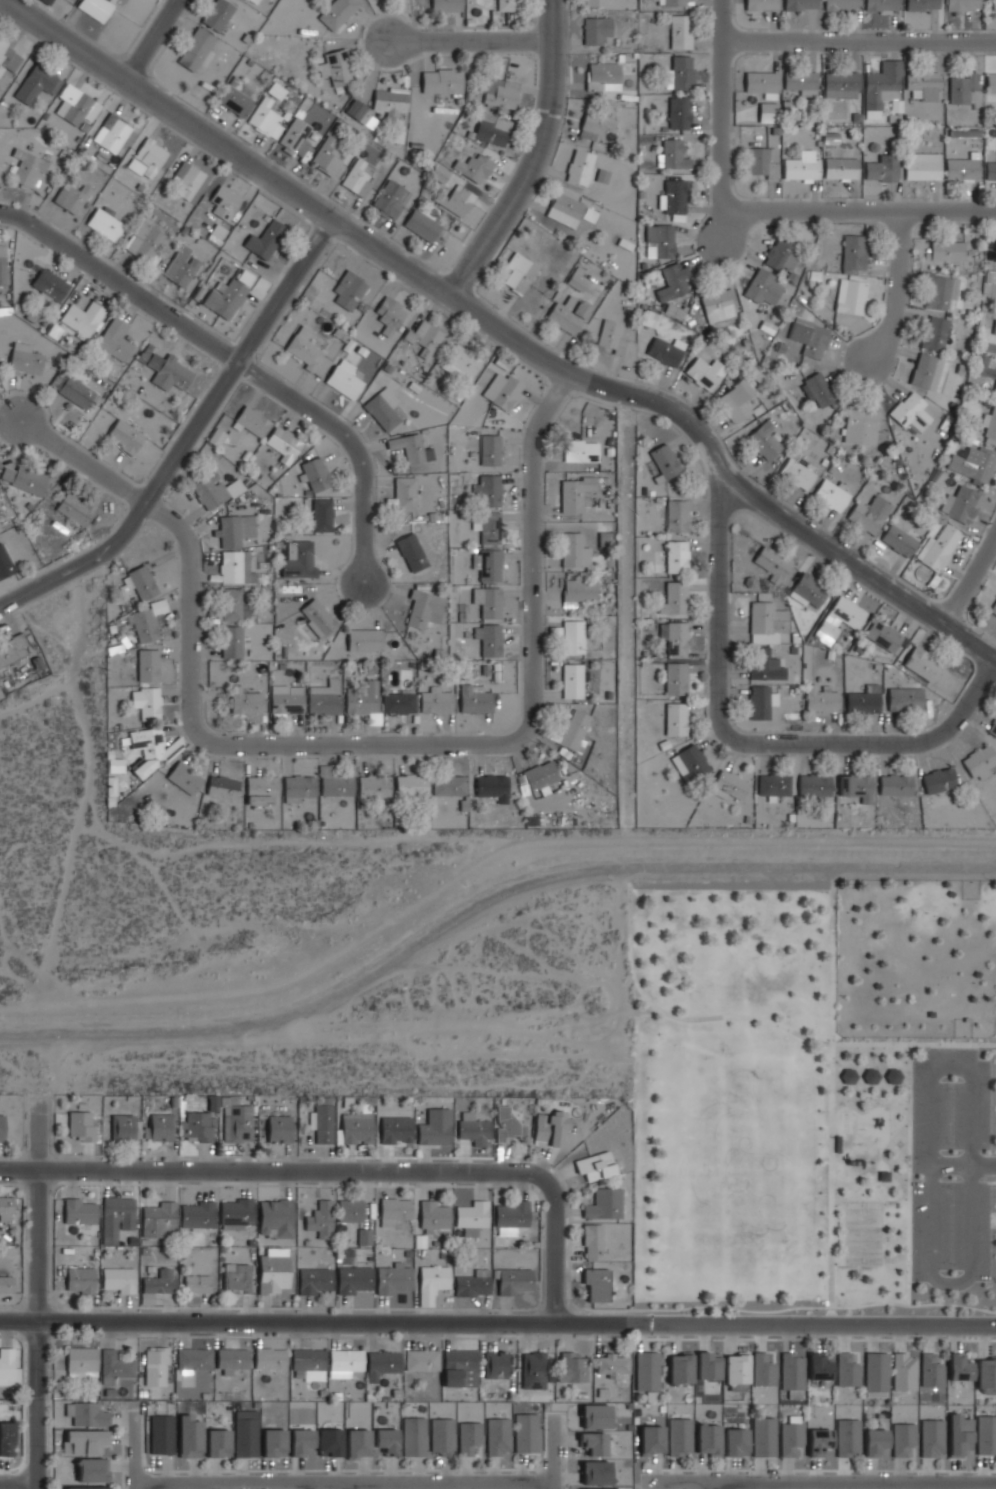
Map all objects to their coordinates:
building: (48, 1)
building: (253, 1)
building: (673, 2)
building: (594, 3)
building: (761, 4)
building: (447, 5)
building: (508, 5)
building: (800, 5)
building: (841, 5)
building: (882, 5)
building: (922, 5)
building: (963, 5)
building: (991, 5)
building: (95, 8)
building: (337, 12)
building: (216, 14)
building: (595, 30)
building: (679, 31)
road: (859, 40)
road: (149, 41)
road: (464, 42)
building: (195, 49)
building: (9, 56)
building: (337, 67)
building: (682, 72)
building: (602, 76)
building: (442, 80)
building: (800, 80)
building: (991, 81)
building: (37, 83)
building: (762, 83)
building: (923, 83)
building: (842, 84)
building: (882, 86)
building: (961, 86)
building: (276, 90)
building: (503, 94)
building: (235, 99)
building: (391, 100)
building: (73, 104)
road: (722, 106)
road: (166, 109)
building: (356, 109)
building: (679, 112)
building: (767, 112)
building: (266, 118)
building: (595, 125)
building: (492, 129)
building: (112, 132)
building: (297, 134)
building: (671, 154)
building: (327, 156)
road: (530, 156)
building: (147, 157)
building: (761, 162)
building: (580, 166)
building: (802, 166)
building: (922, 166)
building: (475, 167)
building: (28, 168)
building: (840, 168)
building: (881, 168)
building: (962, 169)
building: (991, 169)
building: (439, 172)
building: (359, 176)
building: (188, 177)
building: (673, 195)
building: (71, 197)
building: (390, 199)
building: (456, 200)
building: (224, 201)
building: (566, 209)
road: (863, 211)
building: (105, 223)
building: (422, 225)
building: (265, 239)
building: (660, 240)
building: (143, 241)
building: (946, 250)
building: (854, 252)
building: (995, 252)
building: (780, 254)
road: (391, 256)
building: (2, 264)
building: (180, 268)
building: (519, 272)
building: (576, 279)
building: (673, 280)
road: (120, 282)
building: (49, 285)
road: (896, 286)
building: (763, 288)
building: (349, 289)
building: (941, 291)
building: (228, 293)
building: (851, 296)
building: (718, 305)
building: (390, 313)
building: (568, 314)
building: (651, 317)
building: (82, 318)
building: (995, 329)
building: (935, 333)
building: (810, 336)
building: (425, 337)
building: (611, 337)
building: (115, 339)
building: (306, 351)
building: (665, 351)
building: (24, 360)
building: (461, 363)
building: (984, 367)
building: (168, 370)
building: (926, 370)
building: (706, 371)
building: (344, 379)
building: (818, 389)
building: (995, 389)
building: (75, 390)
building: (502, 390)
building: (734, 400)
building: (380, 411)
building: (910, 411)
building: (252, 421)
building: (990, 423)
building: (861, 426)
road: (188, 435)
building: (124, 436)
building: (216, 436)
building: (764, 441)
building: (283, 442)
road: (353, 442)
building: (410, 448)
building: (490, 451)
building: (580, 451)
building: (665, 461)
building: (973, 463)
road: (720, 471)
building: (796, 473)
building: (22, 479)
building: (233, 488)
building: (208, 490)
building: (487, 490)
building: (575, 494)
building: (402, 495)
building: (830, 495)
building: (959, 504)
building: (73, 508)
building: (868, 514)
building: (321, 515)
building: (676, 516)
building: (488, 528)
building: (235, 529)
building: (897, 540)
building: (937, 547)
building: (573, 551)
building: (410, 552)
building: (676, 556)
building: (299, 561)
building: (4, 563)
building: (771, 563)
building: (487, 564)
building: (234, 567)
road: (970, 578)
building: (139, 582)
building: (807, 591)
building: (577, 592)
building: (995, 596)
building: (674, 598)
building: (487, 602)
building: (230, 604)
building: (423, 609)
building: (993, 609)
road: (625, 617)
building: (317, 618)
building: (838, 620)
building: (147, 621)
building: (765, 623)
building: (882, 635)
building: (572, 637)
building: (674, 637)
building: (363, 640)
building: (488, 640)
building: (231, 641)
building: (11, 649)
building: (920, 663)
building: (147, 665)
building: (764, 665)
building: (675, 678)
building: (571, 681)
road: (983, 694)
road: (39, 695)
building: (324, 698)
building: (362, 698)
building: (474, 699)
building: (820, 699)
building: (904, 699)
building: (863, 700)
building: (245, 701)
building: (287, 701)
building: (435, 701)
building: (760, 702)
building: (146, 703)
building: (398, 703)
road: (971, 715)
road: (975, 717)
building: (675, 719)
building: (573, 728)
building: (992, 728)
road: (750, 742)
road: (344, 745)
building: (150, 749)
building: (980, 762)
building: (689, 763)
building: (184, 777)
building: (539, 777)
building: (938, 780)
building: (334, 784)
building: (894, 784)
building: (410, 785)
building: (447, 785)
building: (521, 785)
building: (728, 785)
building: (773, 785)
building: (813, 785)
building: (373, 786)
building: (221, 787)
building: (297, 787)
building: (491, 787)
building: (855, 787)
road: (82, 788)
building: (261, 790)
road: (298, 842)
road: (479, 859)
road: (19, 952)
road: (756, 1018)
building: (847, 1075)
building: (870, 1075)
building: (892, 1076)
park: (815, 1093)
building: (321, 1123)
building: (506, 1124)
building: (80, 1126)
building: (1, 1127)
building: (159, 1127)
building: (195, 1127)
building: (356, 1127)
building: (434, 1127)
building: (122, 1128)
building: (549, 1128)
building: (278, 1129)
building: (395, 1129)
building: (473, 1129)
building: (836, 1143)
road: (961, 1165)
building: (594, 1166)
road: (345, 1170)
building: (883, 1176)
building: (603, 1204)
building: (5, 1209)
building: (349, 1210)
building: (393, 1210)
building: (78, 1212)
building: (236, 1214)
building: (198, 1215)
building: (433, 1216)
building: (275, 1217)
building: (471, 1217)
building: (510, 1217)
building: (116, 1218)
building: (320, 1219)
building: (159, 1220)
road: (828, 1231)
park: (862, 1232)
building: (364, 1237)
building: (592, 1242)
building: (272, 1271)
building: (236, 1278)
building: (119, 1279)
building: (353, 1279)
building: (392, 1279)
building: (79, 1280)
building: (313, 1280)
building: (513, 1280)
building: (159, 1282)
road: (948, 1282)
building: (431, 1283)
building: (472, 1283)
building: (196, 1284)
building: (595, 1284)
building: (6, 1285)
road: (37, 1298)
road: (497, 1322)
building: (269, 1358)
building: (193, 1359)
building: (231, 1359)
building: (421, 1360)
building: (81, 1362)
building: (344, 1363)
building: (307, 1364)
building: (381, 1364)
building: (495, 1364)
building: (612, 1365)
building: (707, 1365)
building: (113, 1367)
building: (571, 1367)
building: (818, 1367)
building: (959, 1367)
building: (155, 1368)
building: (459, 1368)
building: (680, 1368)
building: (8, 1369)
building: (762, 1369)
building: (532, 1370)
building: (846, 1370)
building: (646, 1371)
building: (930, 1371)
building: (903, 1372)
building: (791, 1374)
building: (875, 1374)
building: (986, 1376)
building: (86, 1414)
building: (595, 1416)
building: (244, 1433)
building: (525, 1433)
building: (161, 1434)
building: (790, 1435)
building: (958, 1435)
building: (985, 1435)
building: (413, 1436)
building: (441, 1436)
building: (497, 1436)
building: (678, 1436)
building: (188, 1437)
building: (468, 1437)
building: (763, 1437)
building: (847, 1437)
building: (931, 1437)
building: (901, 1438)
building: (5, 1439)
building: (707, 1439)
building: (386, 1440)
building: (651, 1440)
building: (84, 1441)
building: (300, 1441)
building: (818, 1441)
building: (273, 1442)
building: (329, 1442)
building: (735, 1442)
building: (874, 1442)
building: (217, 1443)
building: (357, 1443)
building: (593, 1443)
road: (132, 1450)
road: (551, 1452)
building: (91, 1470)
building: (595, 1473)
road: (17, 1482)
road: (818, 1484)
road: (342, 1485)
road: (709, 1486)
building: (87, 1487)
building: (613, 1488)

